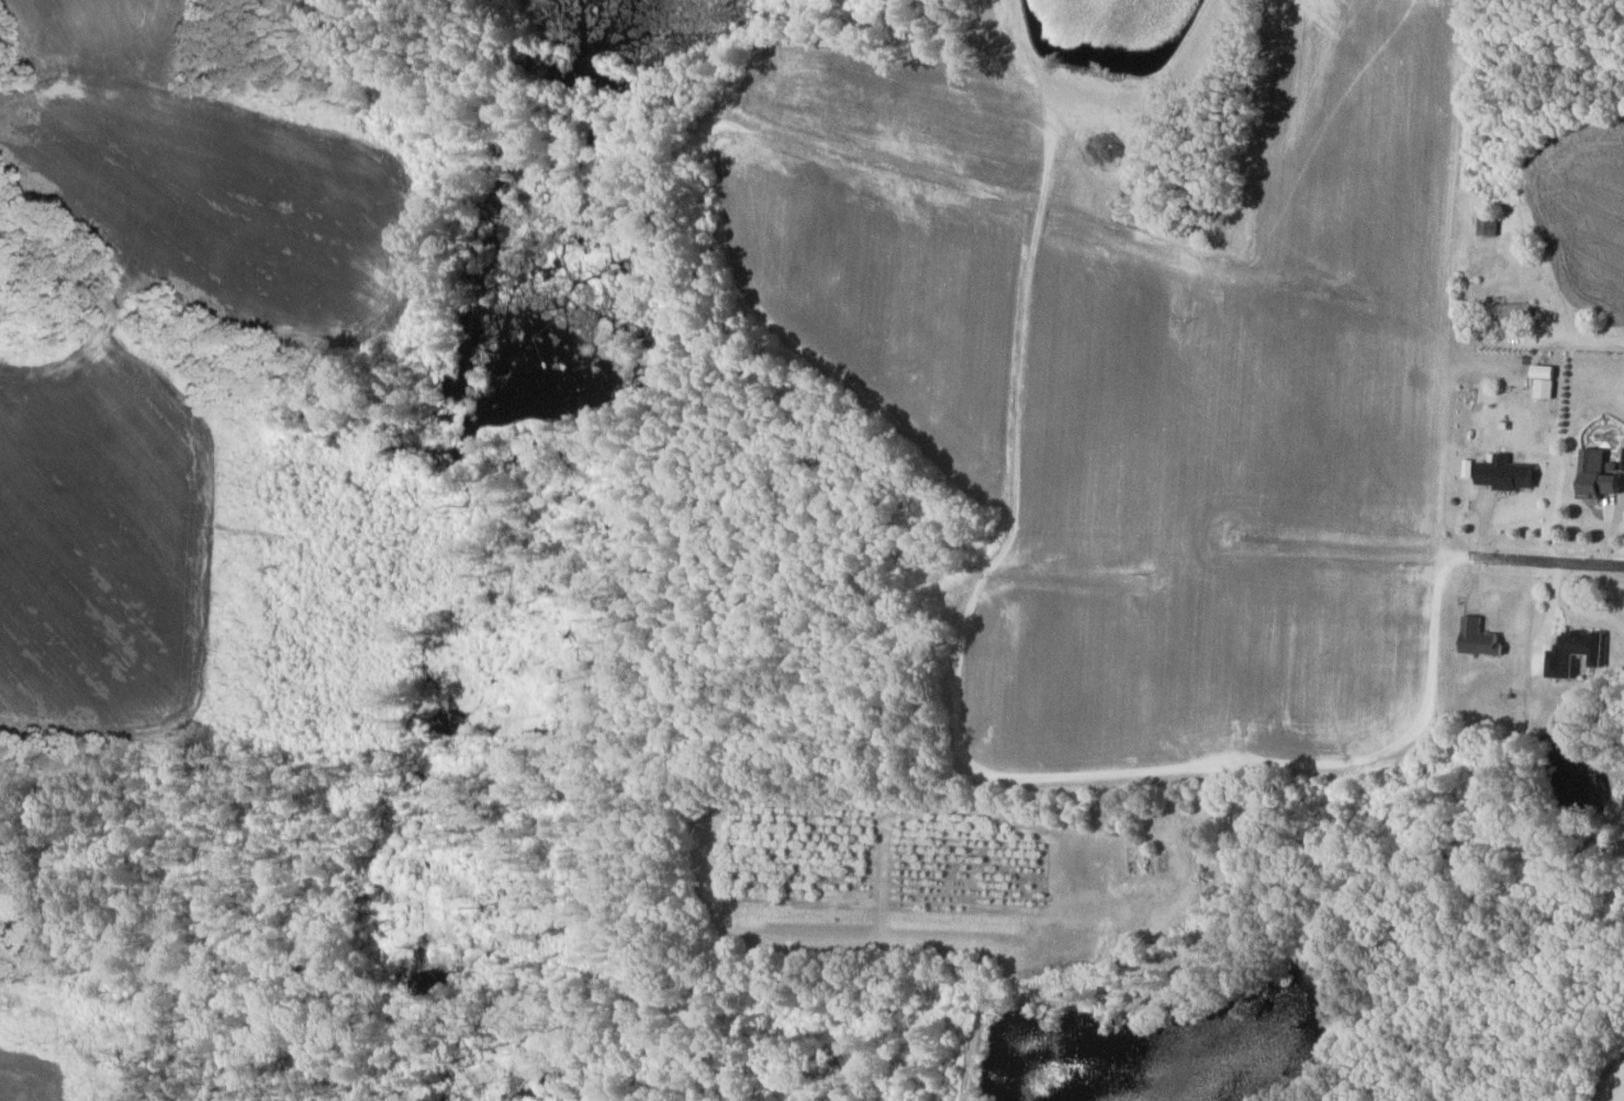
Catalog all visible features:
building: (1490, 223)
building: (1516, 313)
road: (1581, 335)
building: (1545, 381)
building: (1508, 473)
building: (1598, 475)
road: (1545, 561)
building: (1480, 638)
building: (1577, 651)

